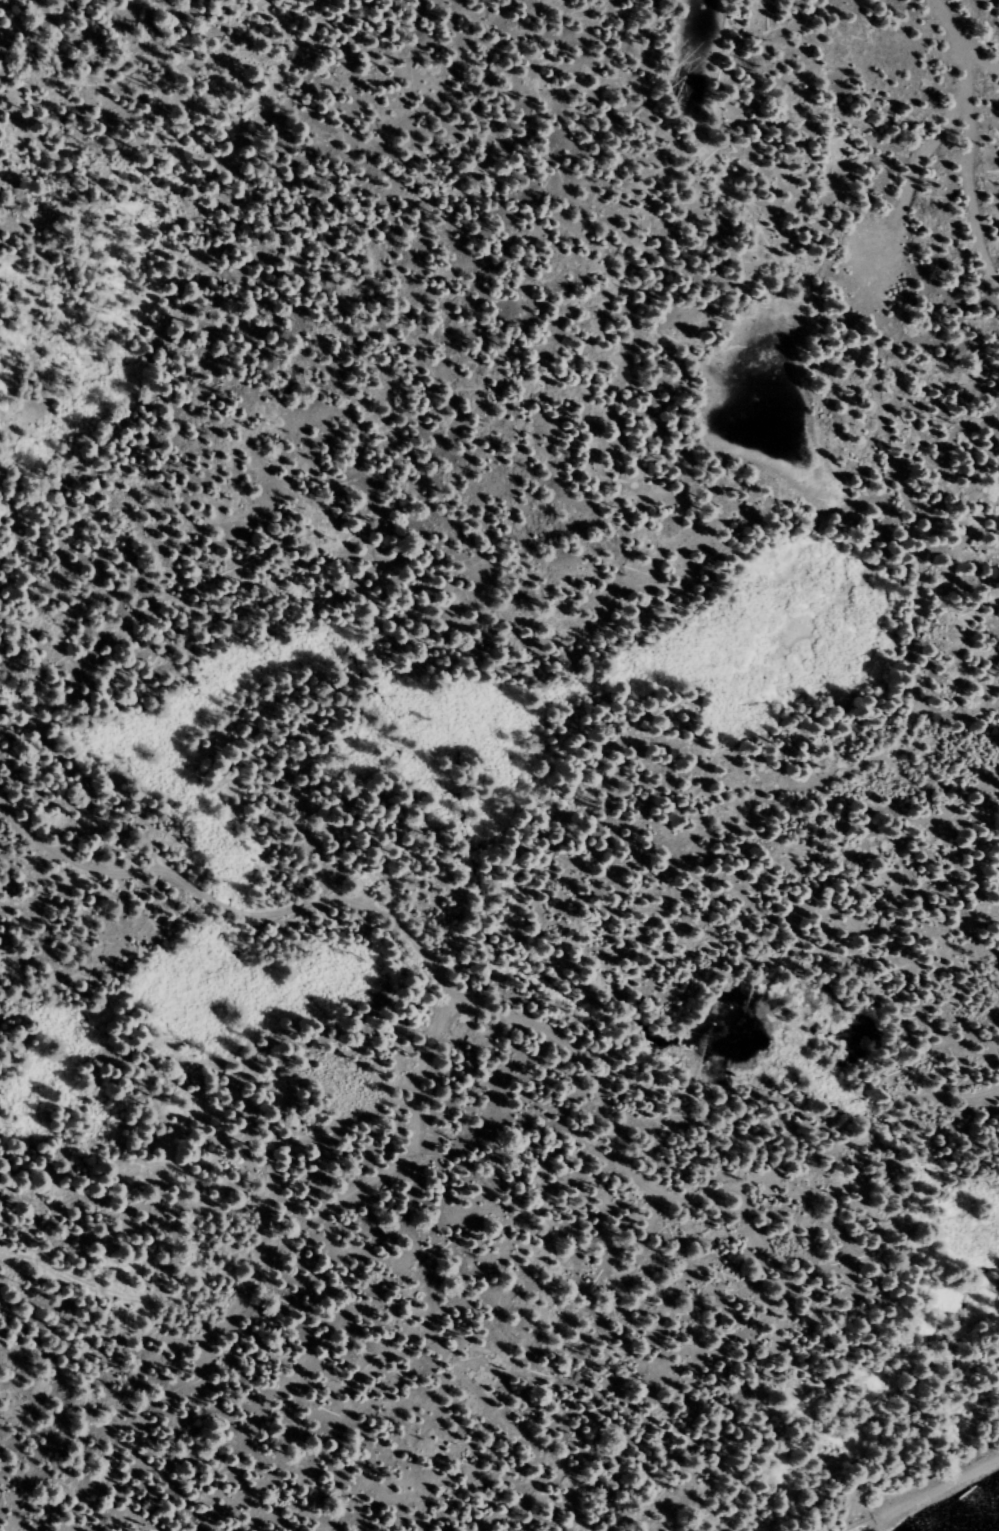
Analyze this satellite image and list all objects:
road: (984, 66)
road: (969, 136)
road: (914, 174)
road: (409, 940)
road: (752, 1231)
road: (414, 1288)
road: (936, 1489)

